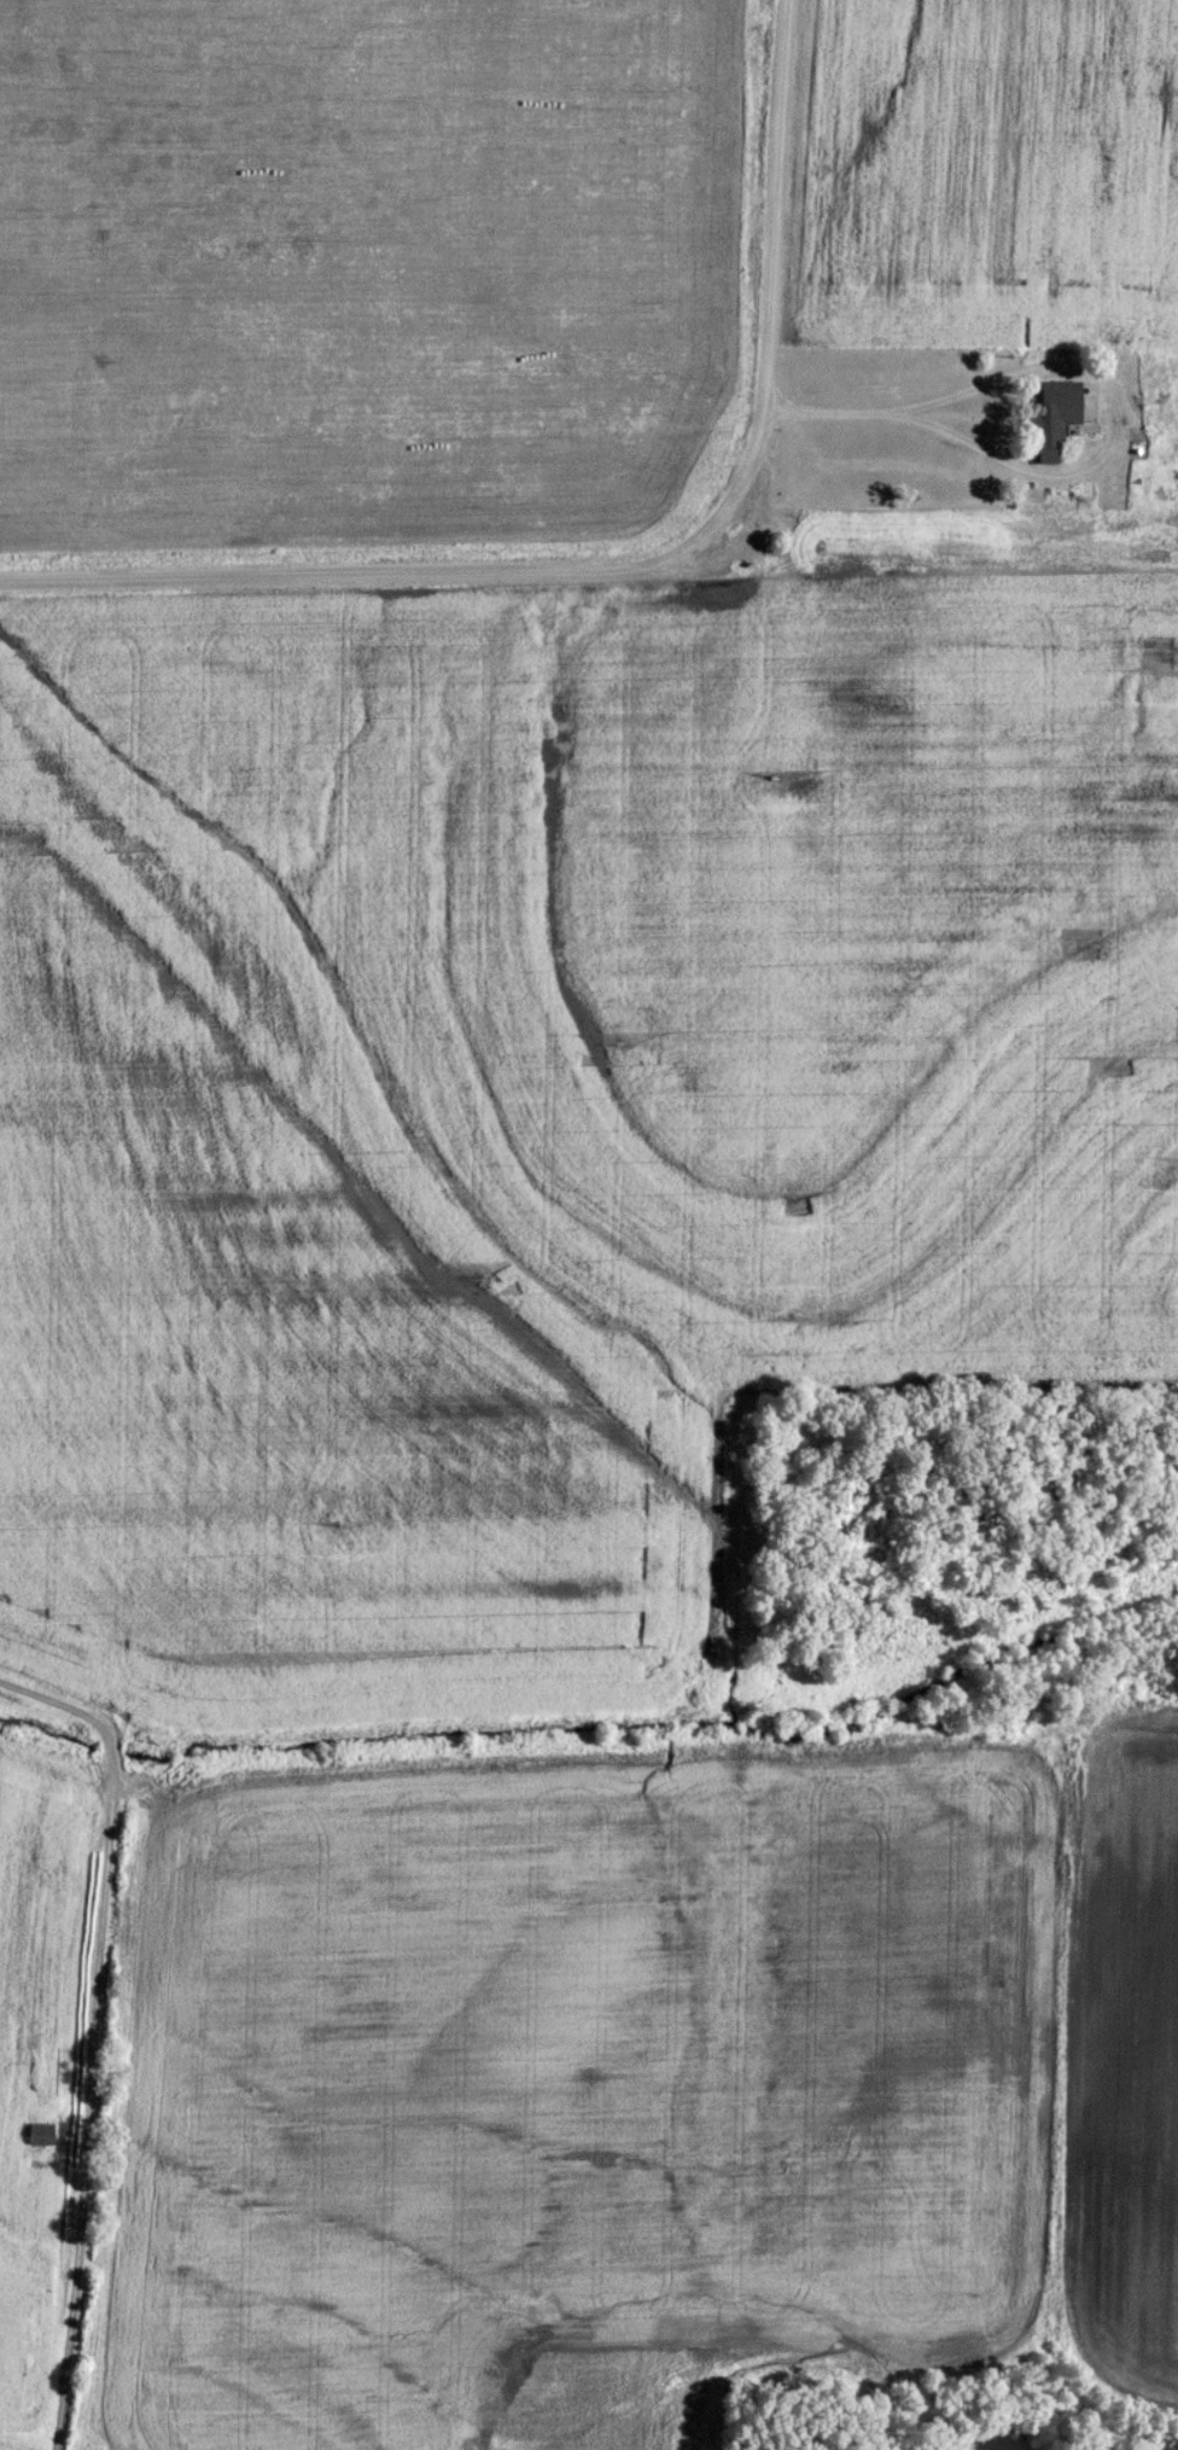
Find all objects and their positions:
building: (1051, 414)
road: (1067, 477)
road: (634, 574)
road: (86, 2036)
building: (36, 2135)

